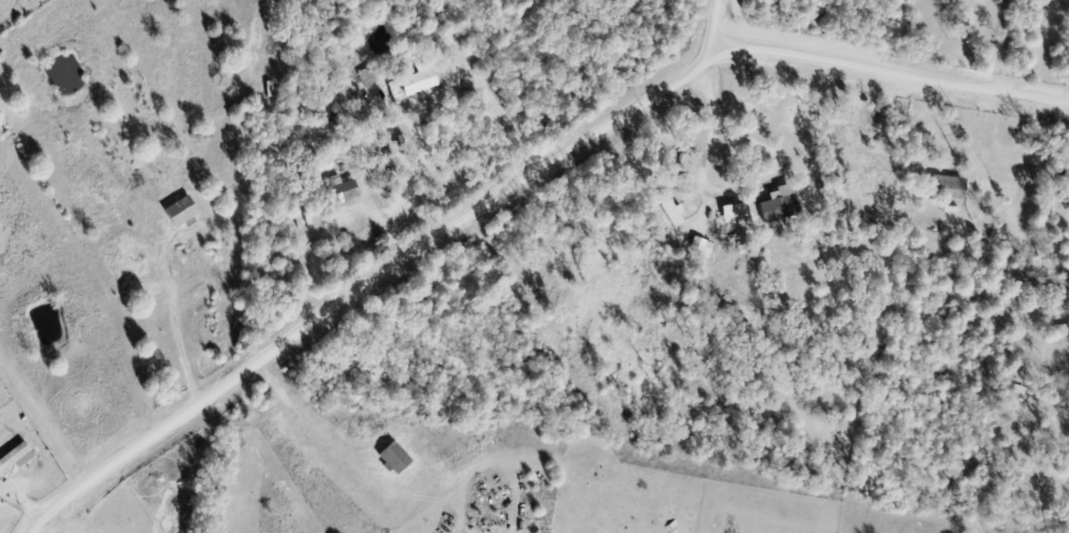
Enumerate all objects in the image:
road: (722, 25)
road: (896, 73)
building: (367, 76)
building: (417, 82)
building: (946, 186)
building: (337, 192)
building: (175, 201)
building: (776, 207)
building: (594, 258)
road: (369, 287)
building: (394, 458)
building: (19, 460)

